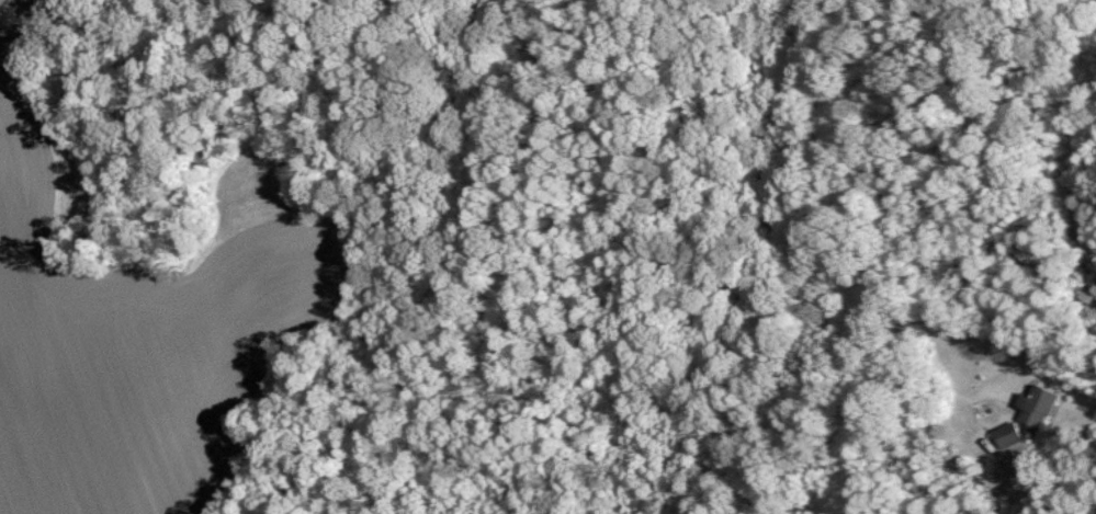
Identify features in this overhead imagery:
building: (1033, 410)
building: (1005, 435)

